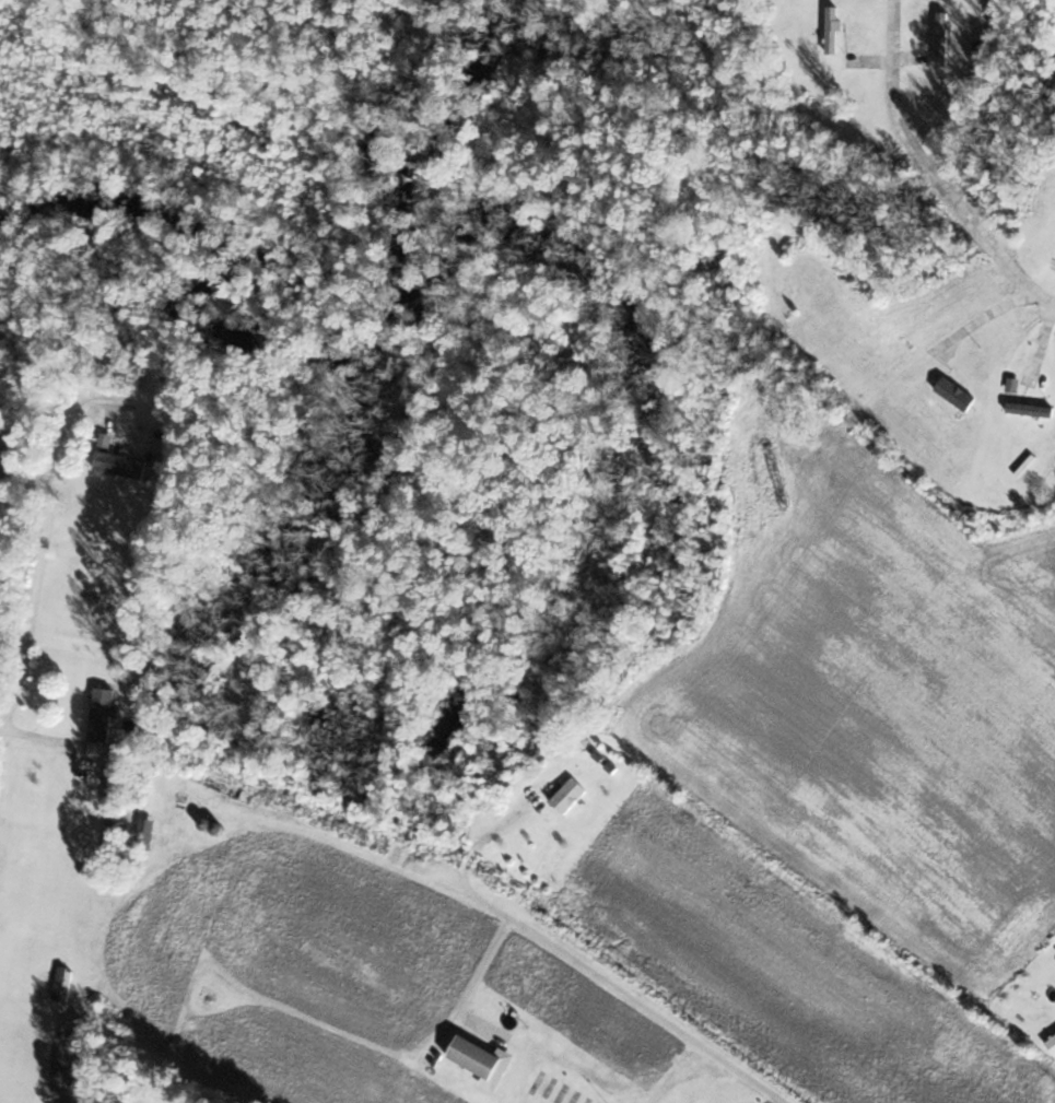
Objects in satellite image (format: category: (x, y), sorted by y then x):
building: (835, 28)
building: (946, 37)
road: (934, 169)
road: (980, 318)
building: (1032, 409)
building: (125, 464)
road: (35, 562)
building: (105, 715)
building: (572, 795)
road: (586, 971)
road: (469, 982)
building: (66, 983)
building: (1053, 1043)
building: (481, 1056)

